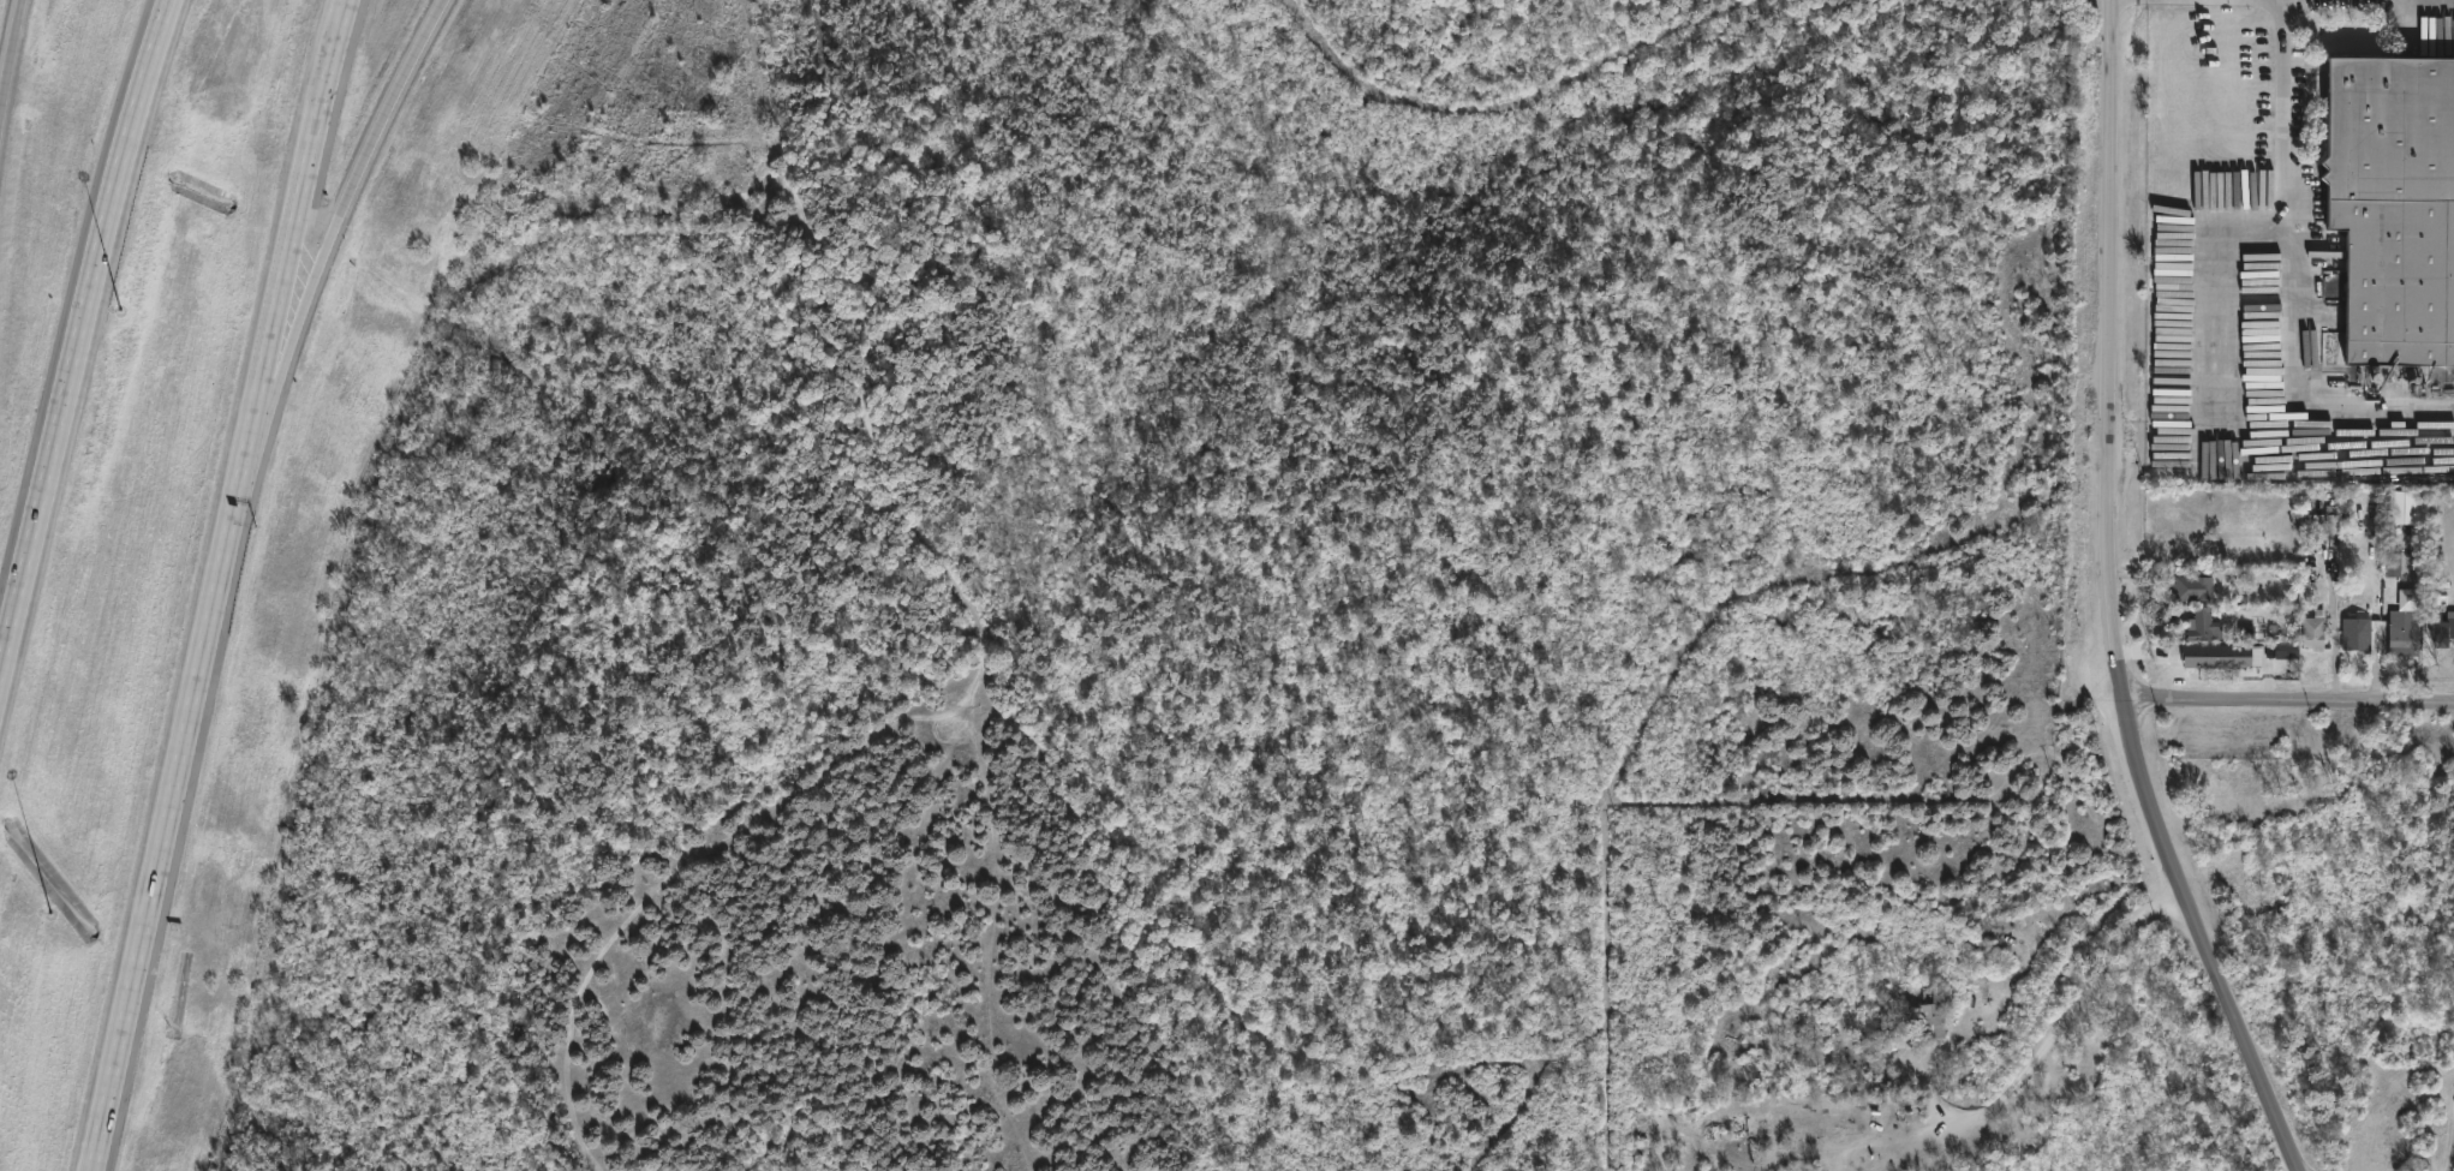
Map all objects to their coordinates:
road: (11, 53)
road: (386, 106)
road: (299, 186)
building: (2394, 205)
road: (2303, 282)
road: (299, 295)
street lamp: (121, 310)
road: (78, 331)
railway: (2386, 394)
building: (2325, 519)
building: (2394, 564)
building: (2195, 585)
road: (2115, 602)
road: (2335, 623)
building: (2203, 625)
building: (2442, 628)
building: (2315, 629)
building: (2359, 632)
building: (2402, 635)
building: (2286, 650)
building: (2222, 656)
road: (2287, 707)
road: (175, 773)
street lamp: (50, 913)
road: (2072, 1008)
building: (1931, 1014)
building: (1882, 1038)

